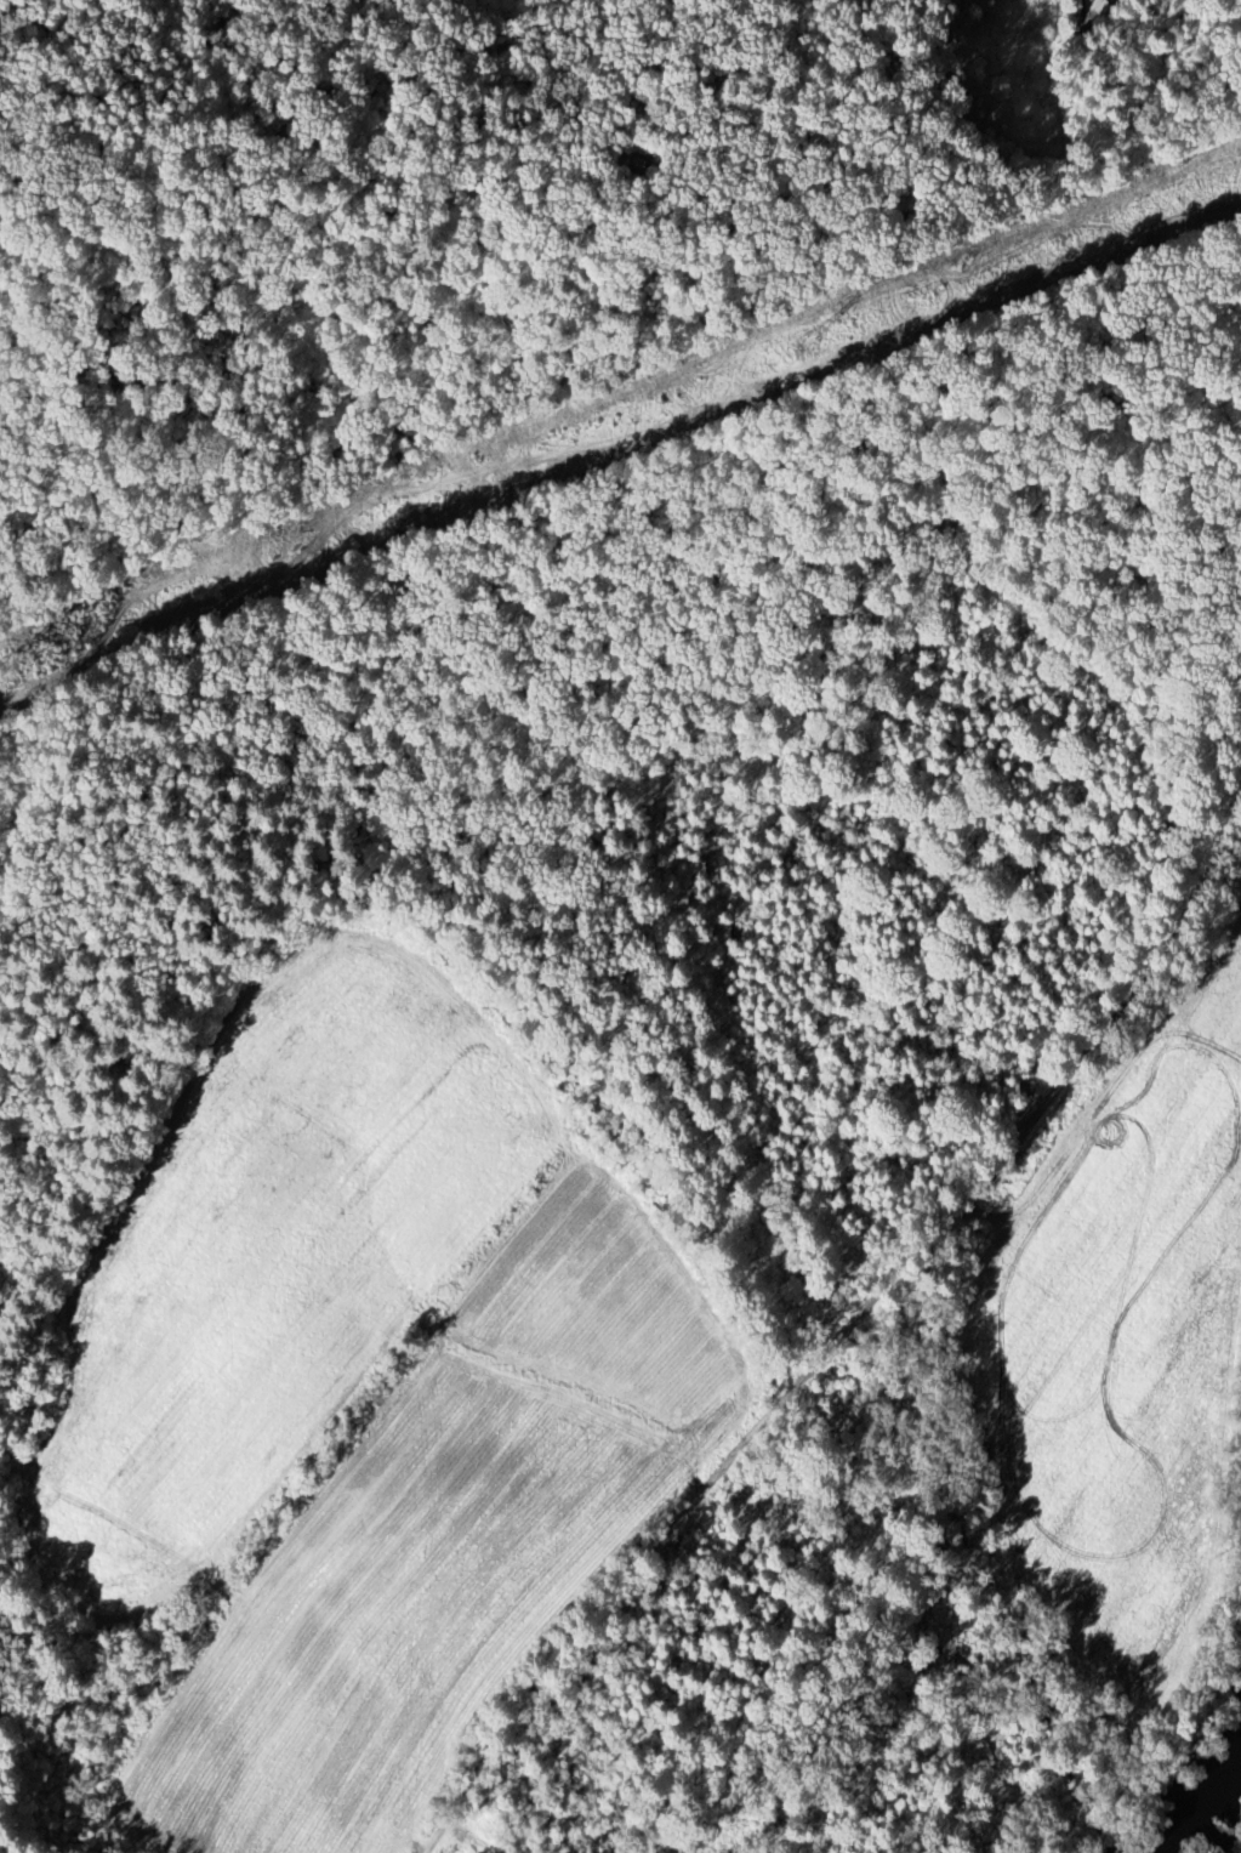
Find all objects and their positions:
power tower: (5, 670)
river: (1195, 1804)

